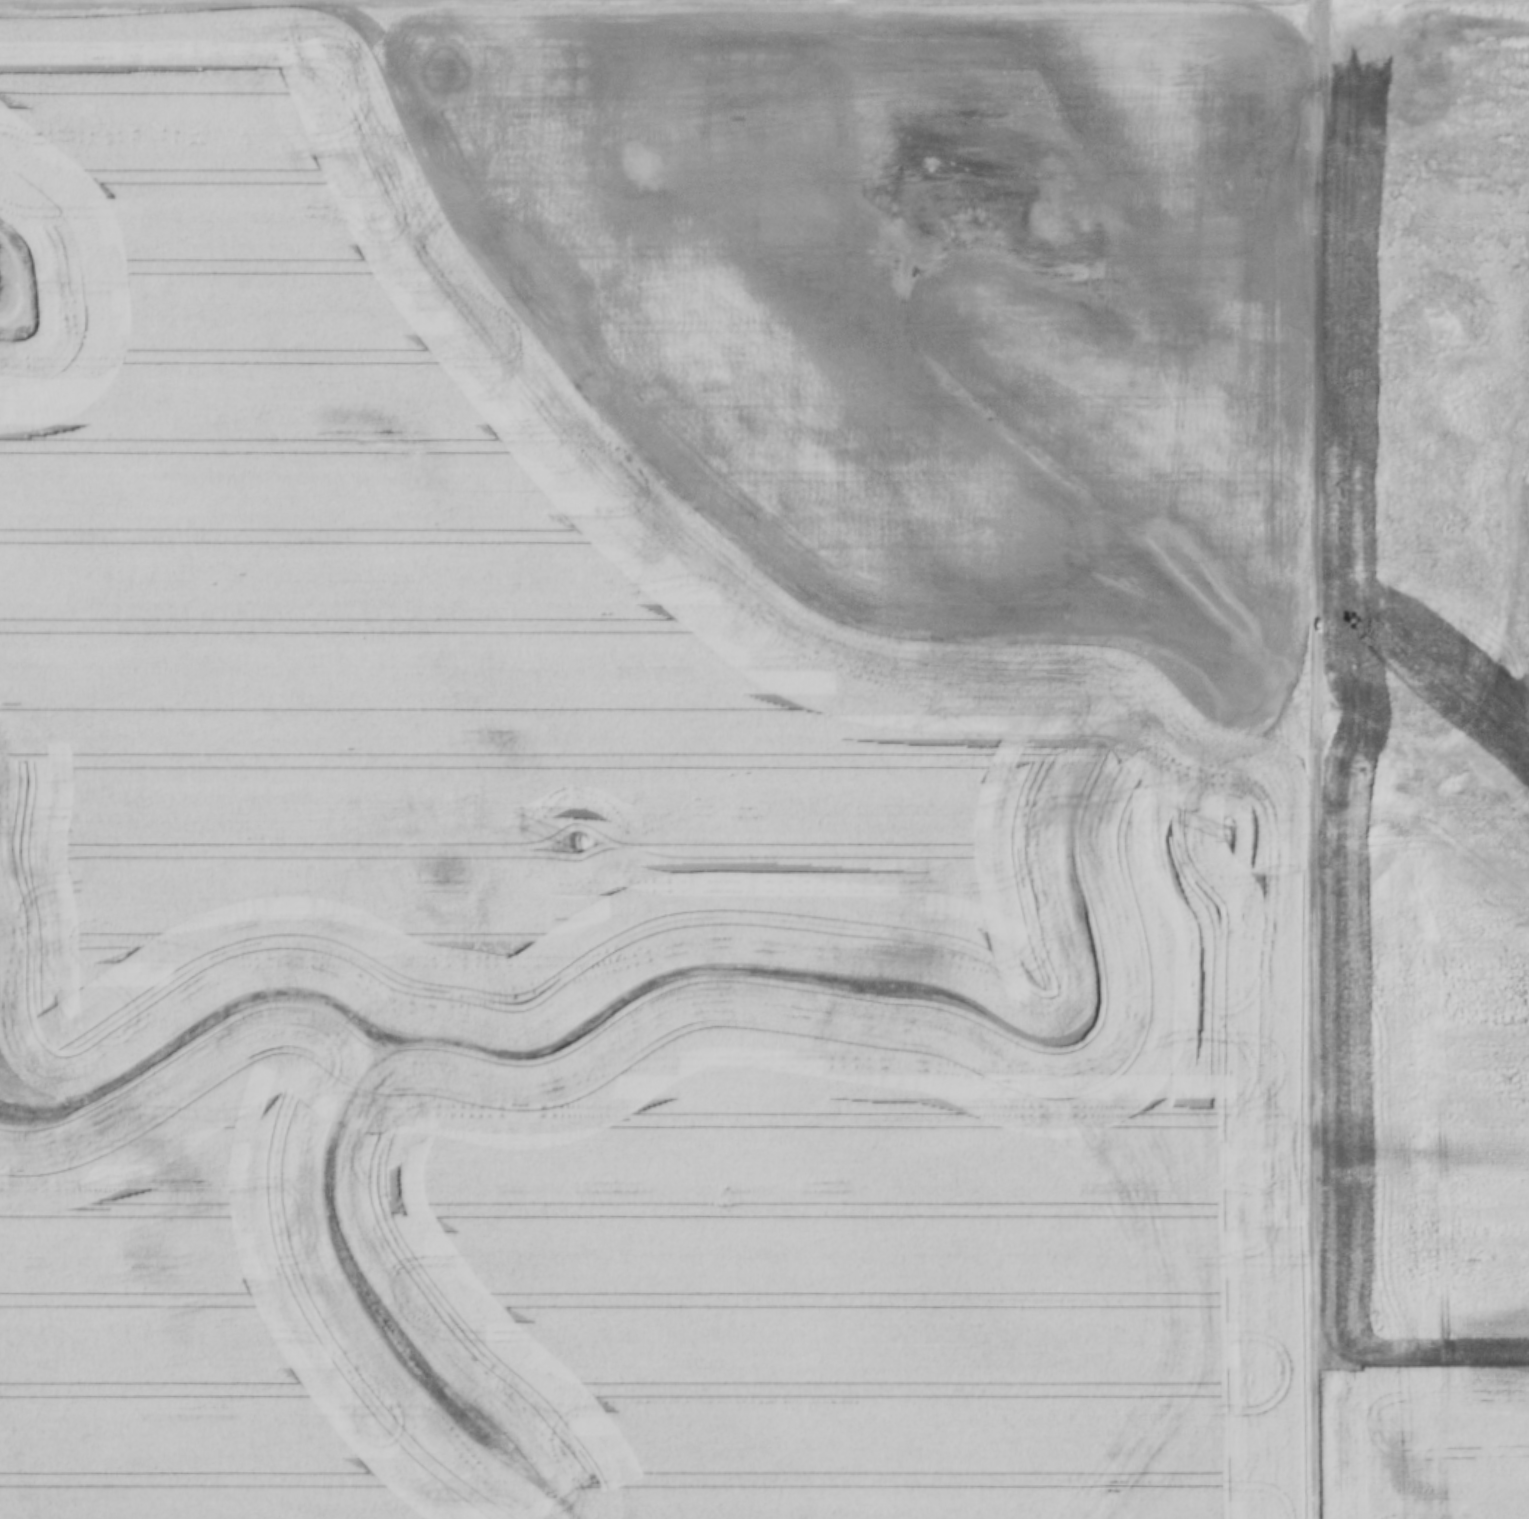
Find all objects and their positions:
road: (1317, 759)
power tower: (1226, 837)
power tower: (574, 842)

